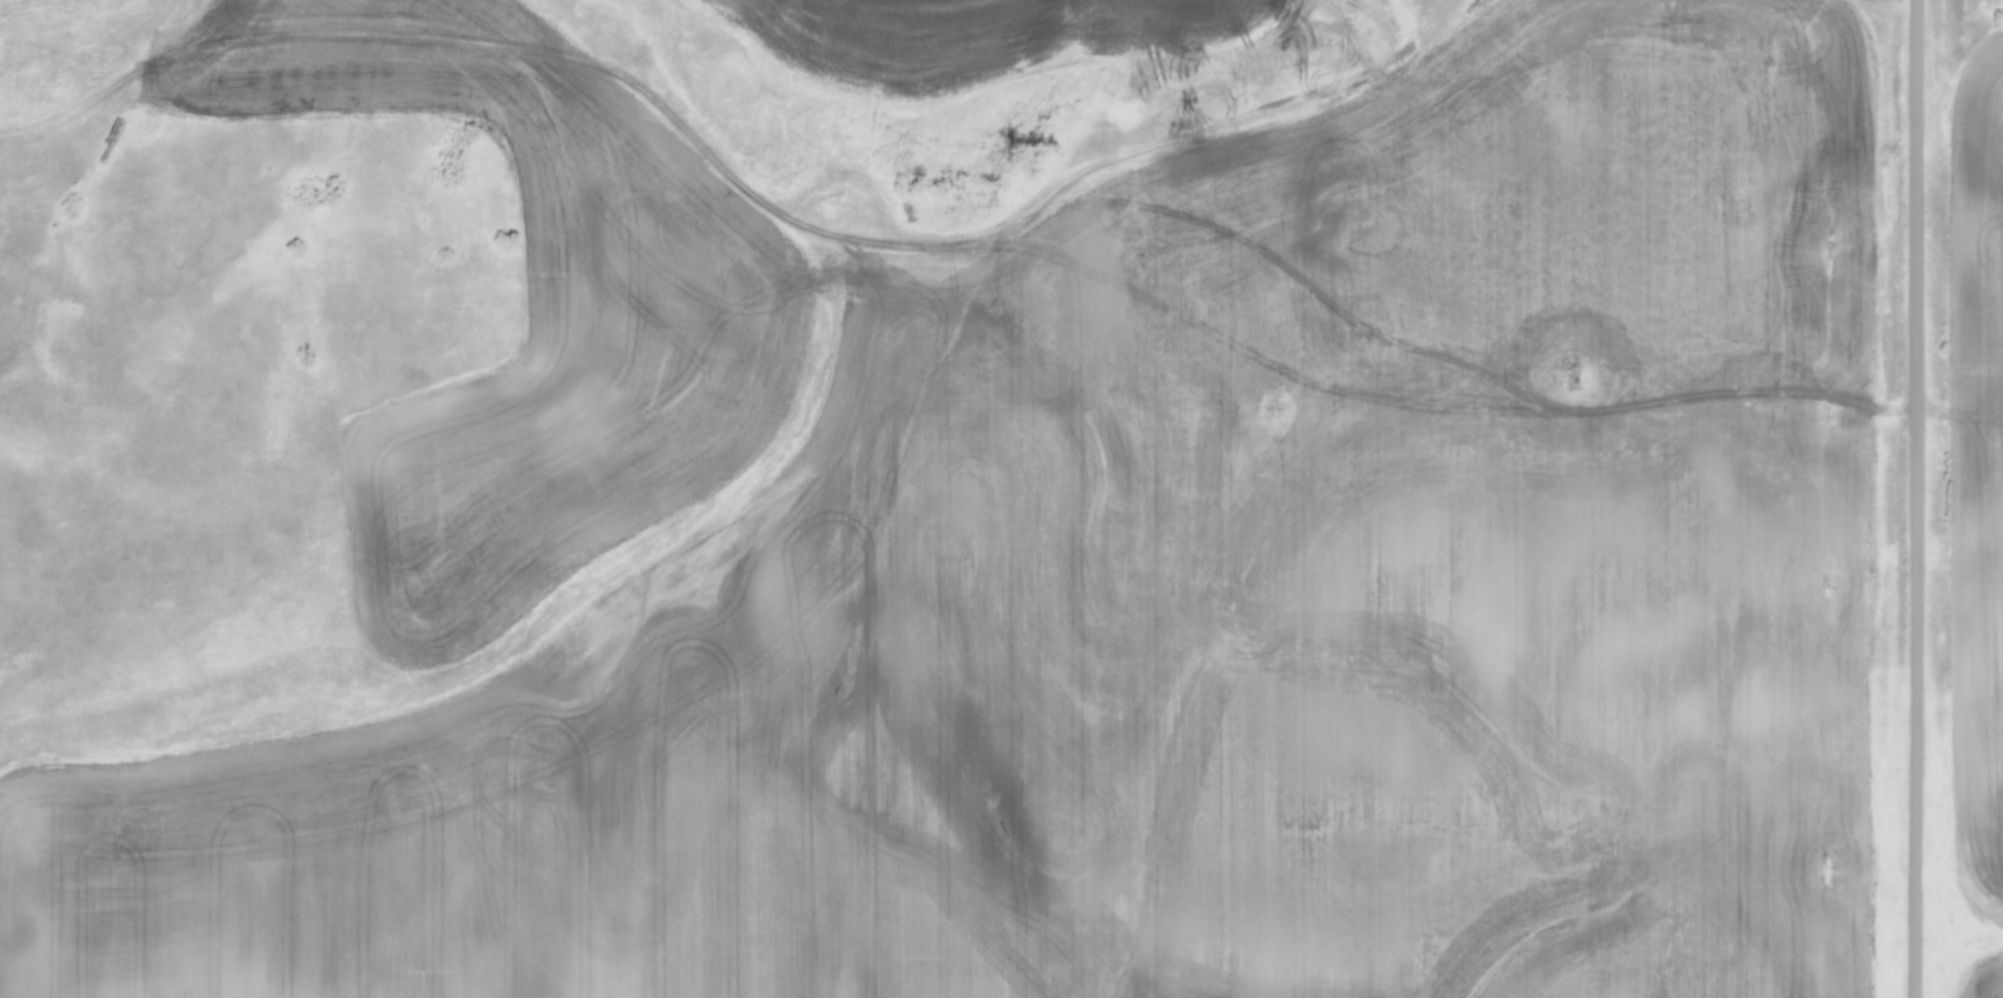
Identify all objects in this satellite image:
road: (1919, 498)

